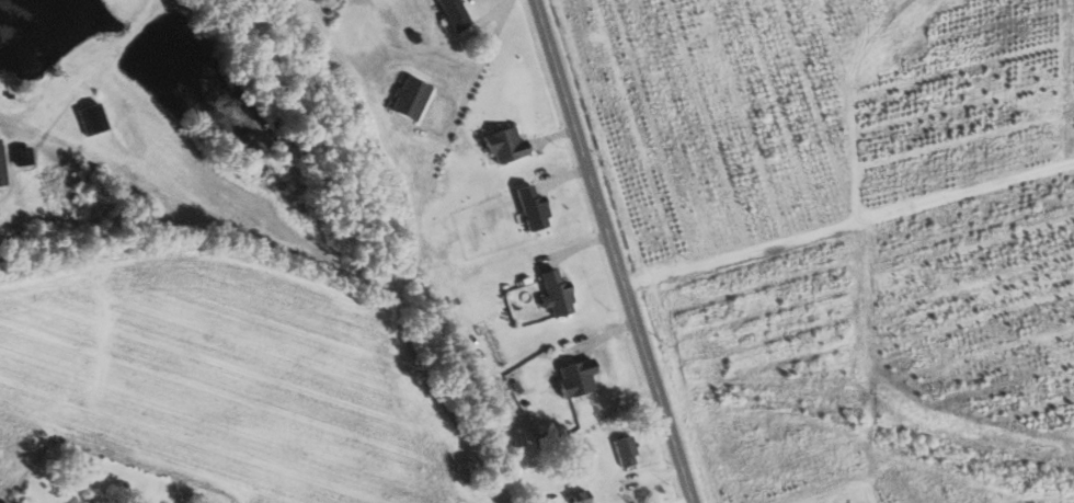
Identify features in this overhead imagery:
building: (455, 13)
road: (480, 68)
building: (411, 96)
building: (92, 118)
building: (505, 144)
building: (2, 163)
building: (533, 207)
road: (609, 251)
building: (557, 293)
building: (578, 377)
building: (627, 450)
building: (582, 496)

